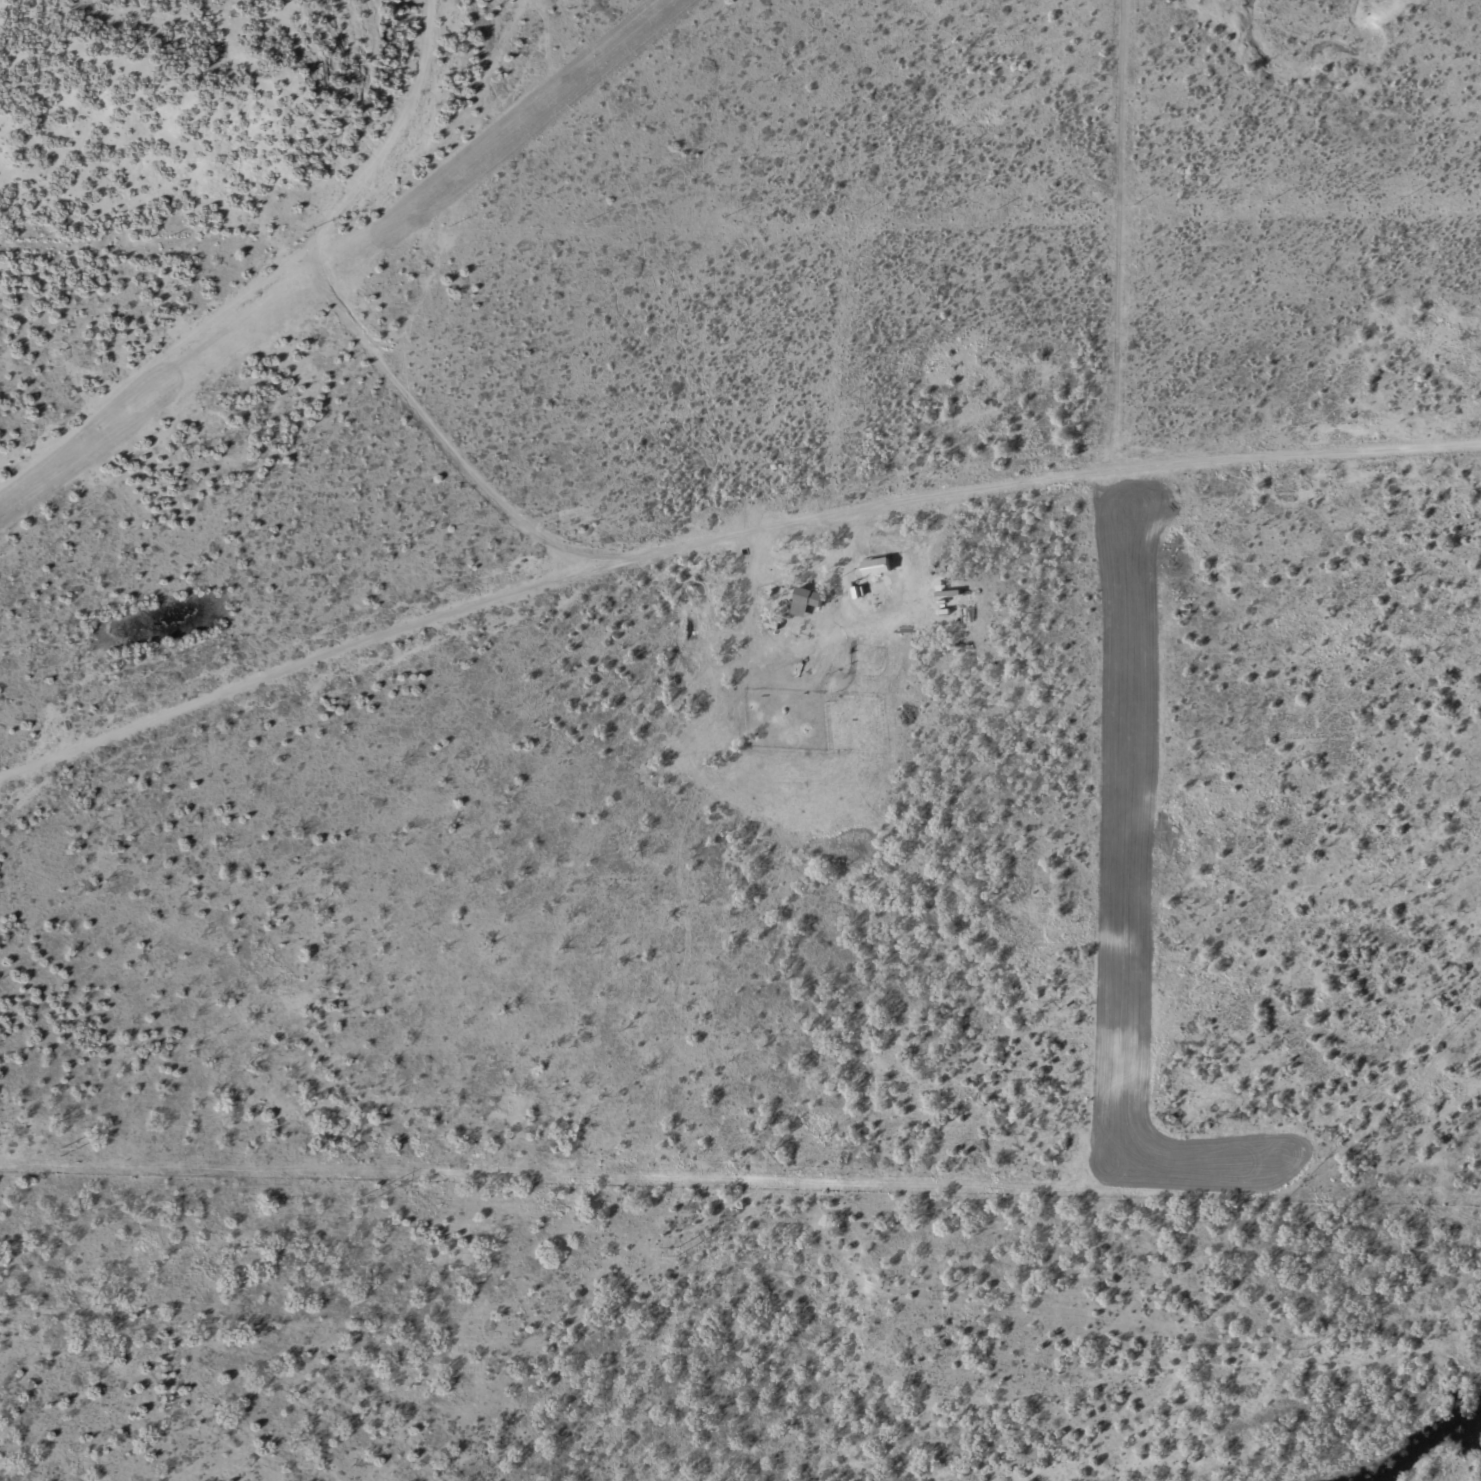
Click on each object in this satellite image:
road: (297, 263)
building: (879, 565)
building: (808, 599)
power tower: (59, 1151)
power tower: (359, 1200)
power tower: (676, 1251)
power tower: (944, 1293)
power tower: (1305, 1351)

